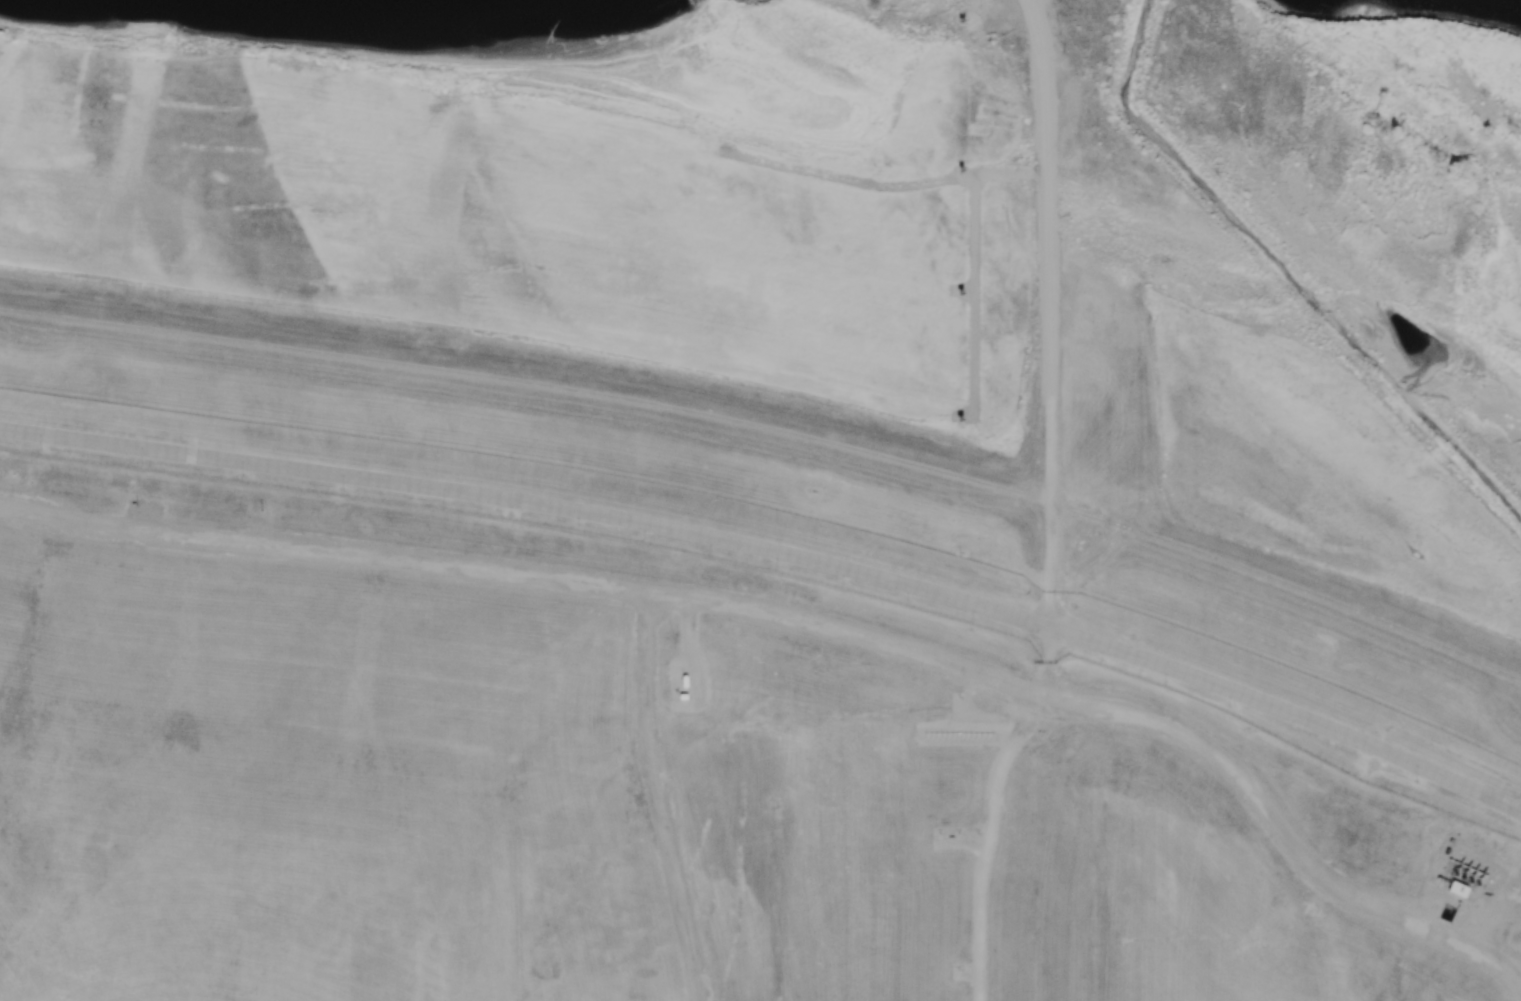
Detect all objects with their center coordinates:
road: (973, 9)
road: (968, 266)
road: (1047, 312)
road: (1006, 552)
road: (778, 553)
road: (812, 625)
airport: (661, 753)
road: (656, 798)
road: (987, 806)
building: (1457, 889)

